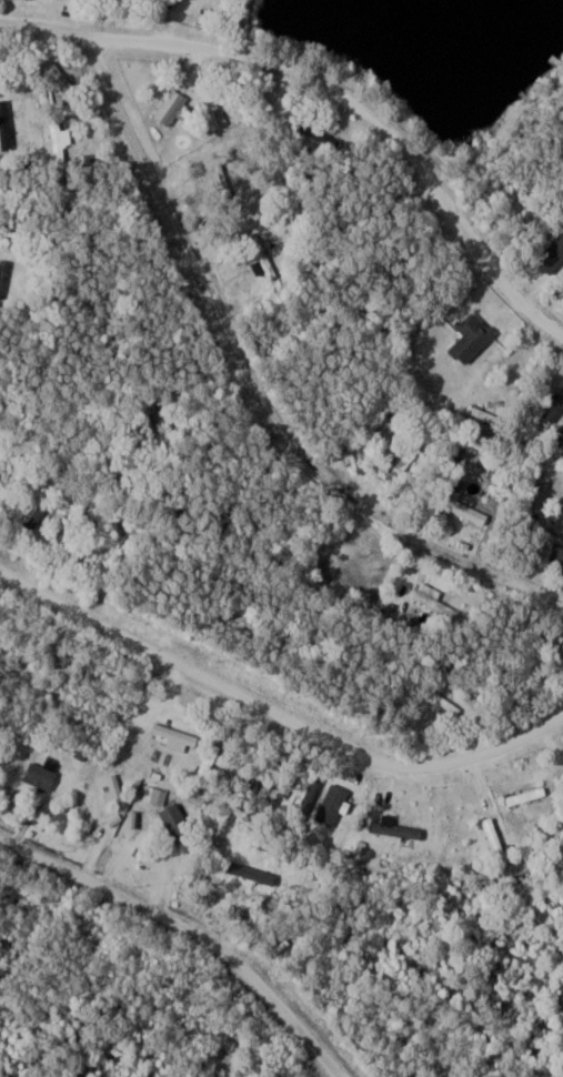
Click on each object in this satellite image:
road: (334, 84)
road: (561, 103)
building: (175, 105)
building: (4, 124)
building: (264, 259)
building: (6, 273)
building: (474, 336)
road: (258, 382)
building: (493, 416)
building: (408, 457)
building: (469, 510)
building: (38, 519)
building: (557, 554)
building: (79, 560)
building: (440, 601)
building: (448, 704)
road: (275, 708)
building: (180, 734)
building: (210, 761)
building: (43, 774)
building: (530, 796)
building: (182, 827)
building: (497, 839)
road: (188, 934)
road: (555, 1068)

